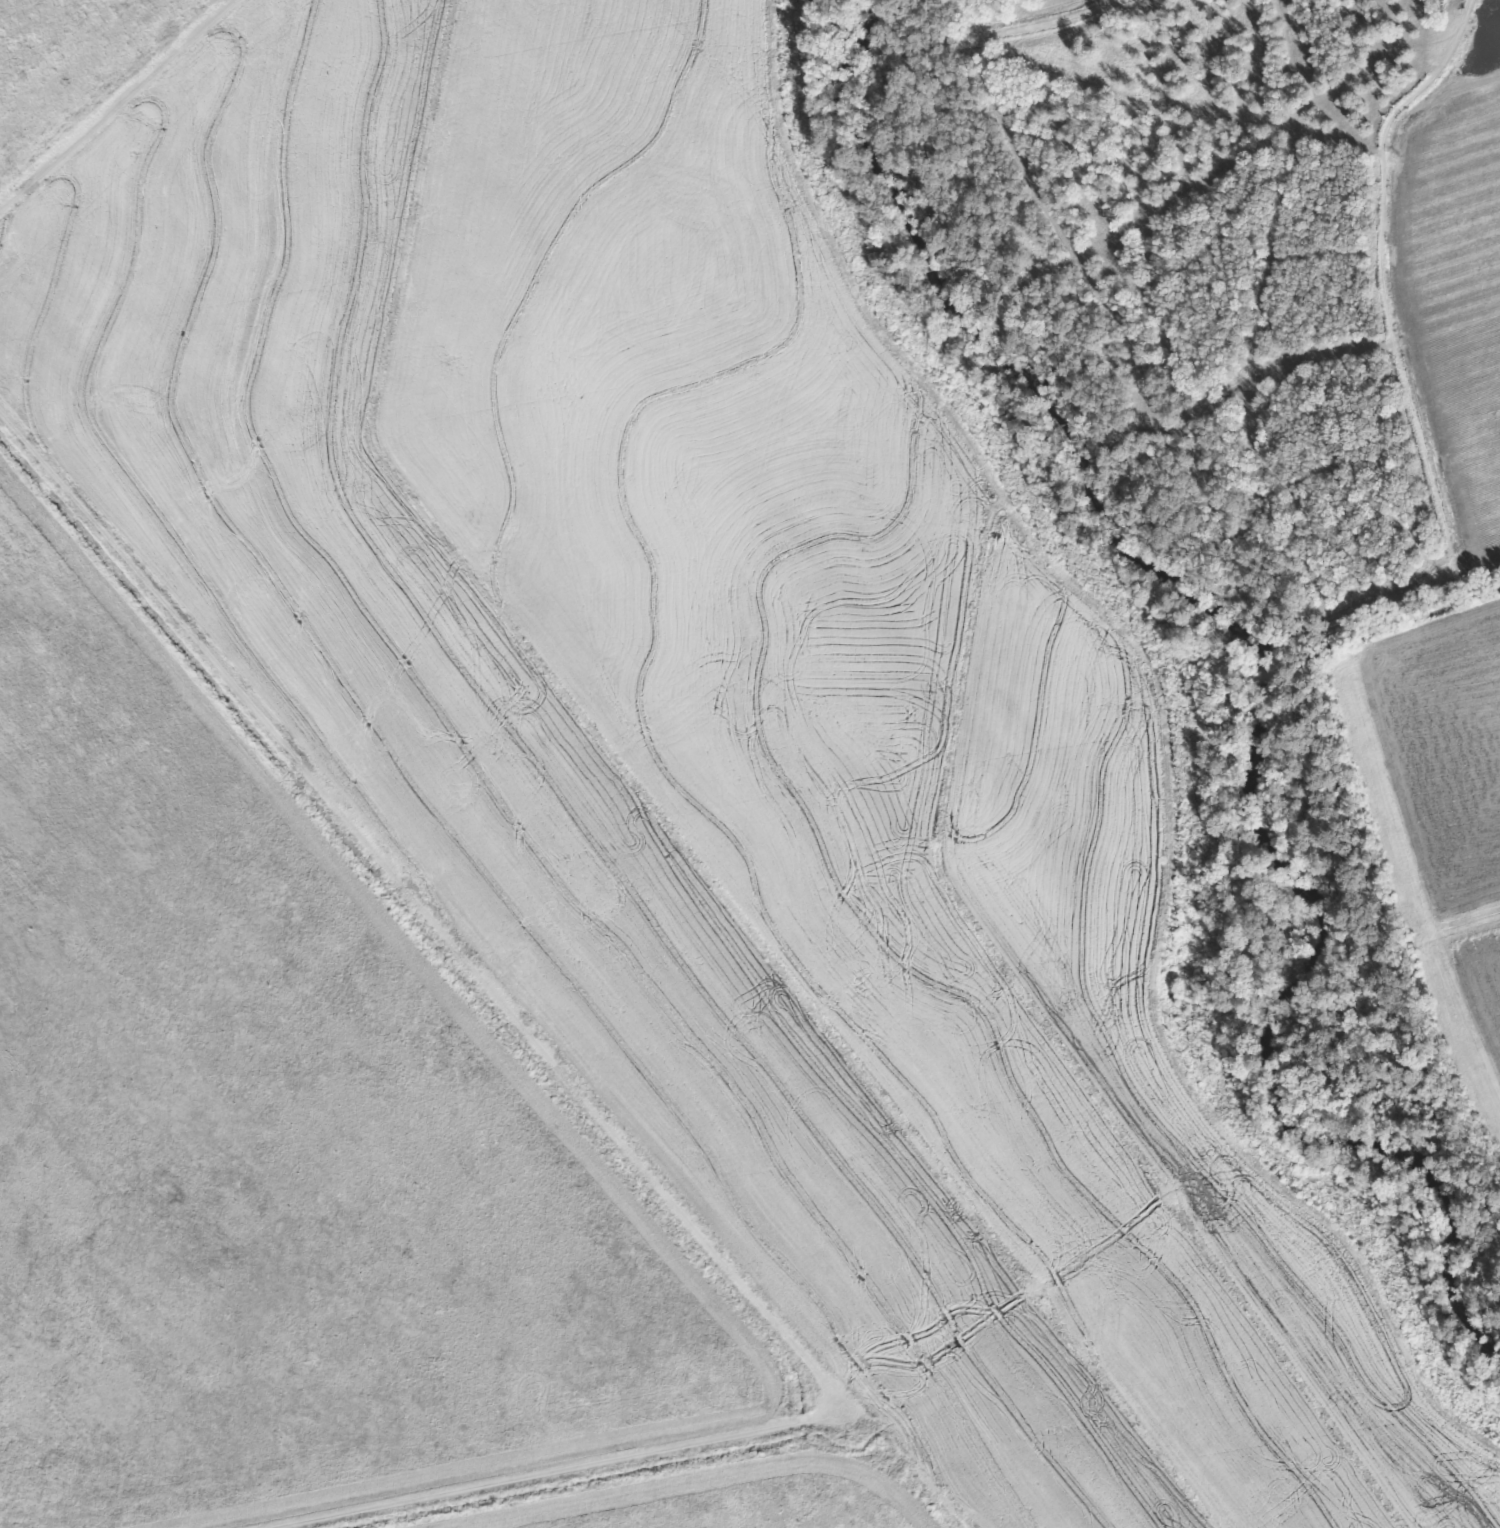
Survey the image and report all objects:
road: (596, 1163)

